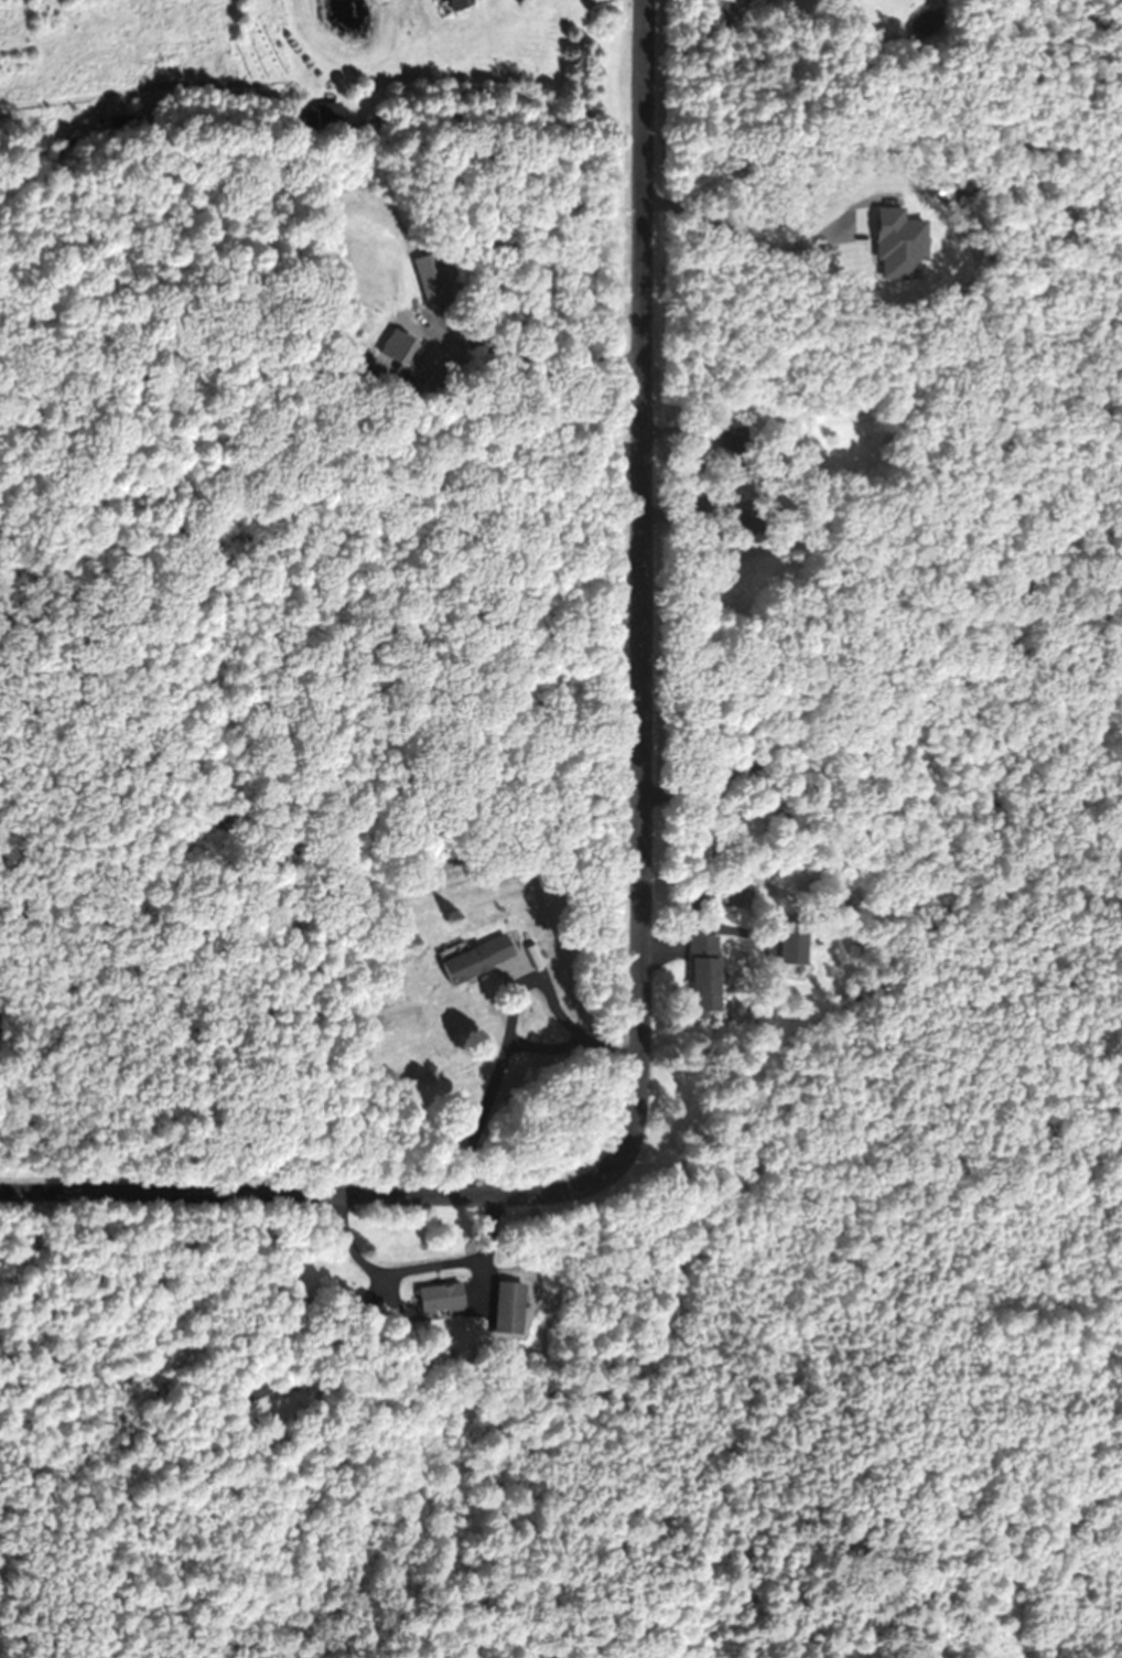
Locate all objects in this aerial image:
building: (463, 4)
building: (330, 115)
building: (433, 279)
building: (395, 345)
road: (635, 900)
building: (795, 946)
building: (482, 959)
building: (706, 973)
building: (444, 1298)
building: (511, 1309)

